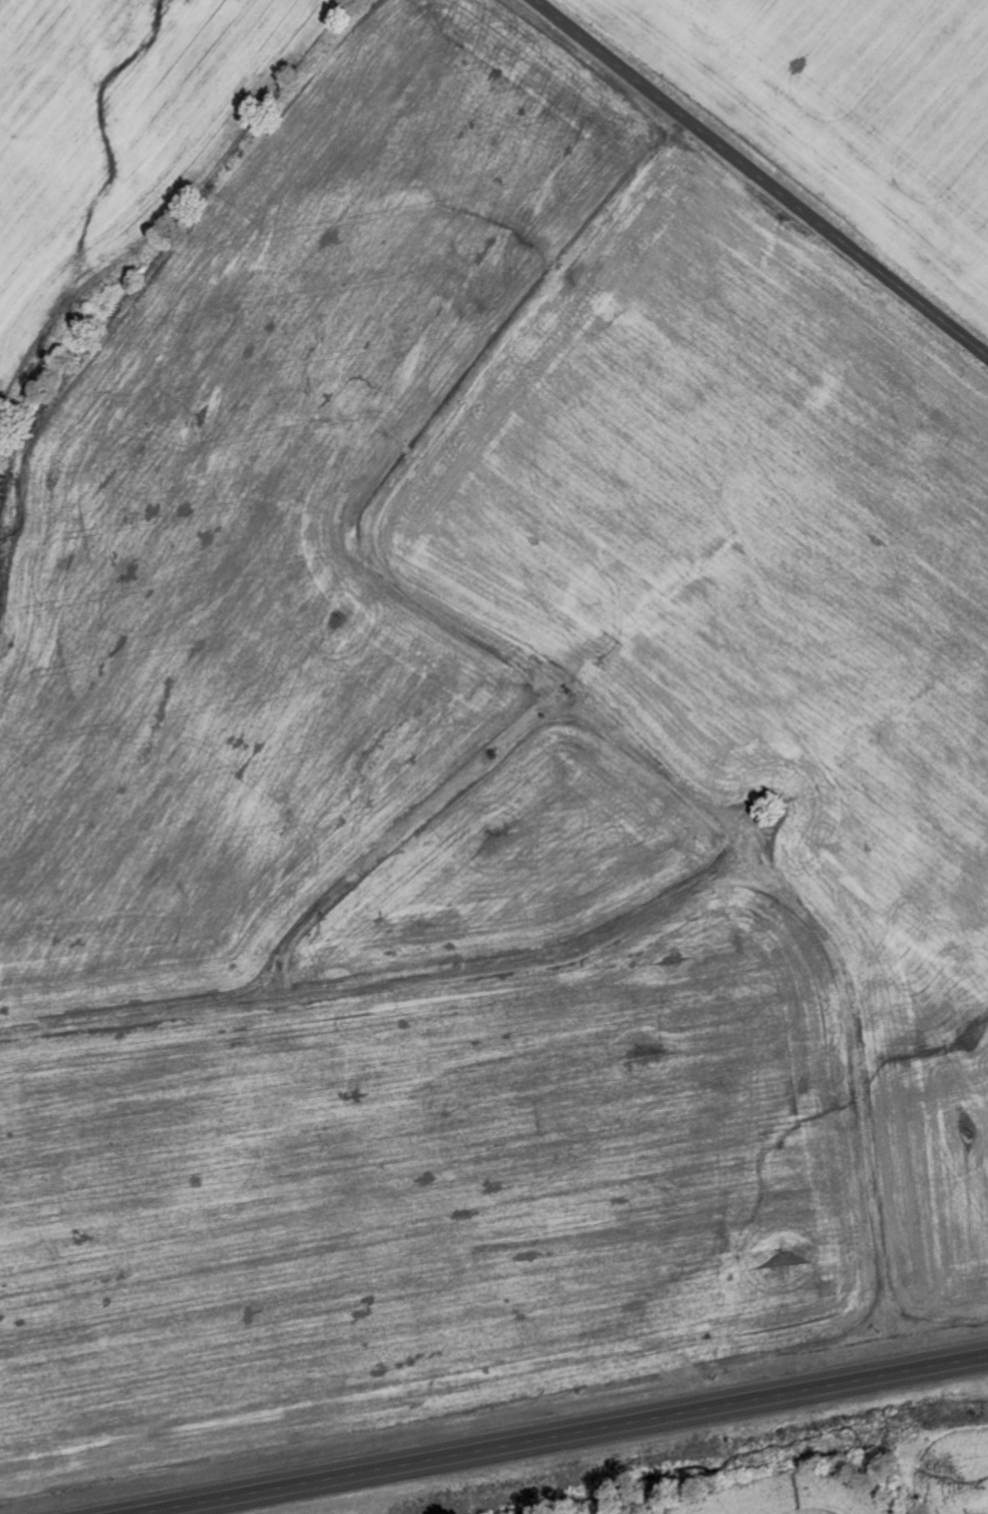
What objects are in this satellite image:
road: (762, 178)
road: (501, 1424)

